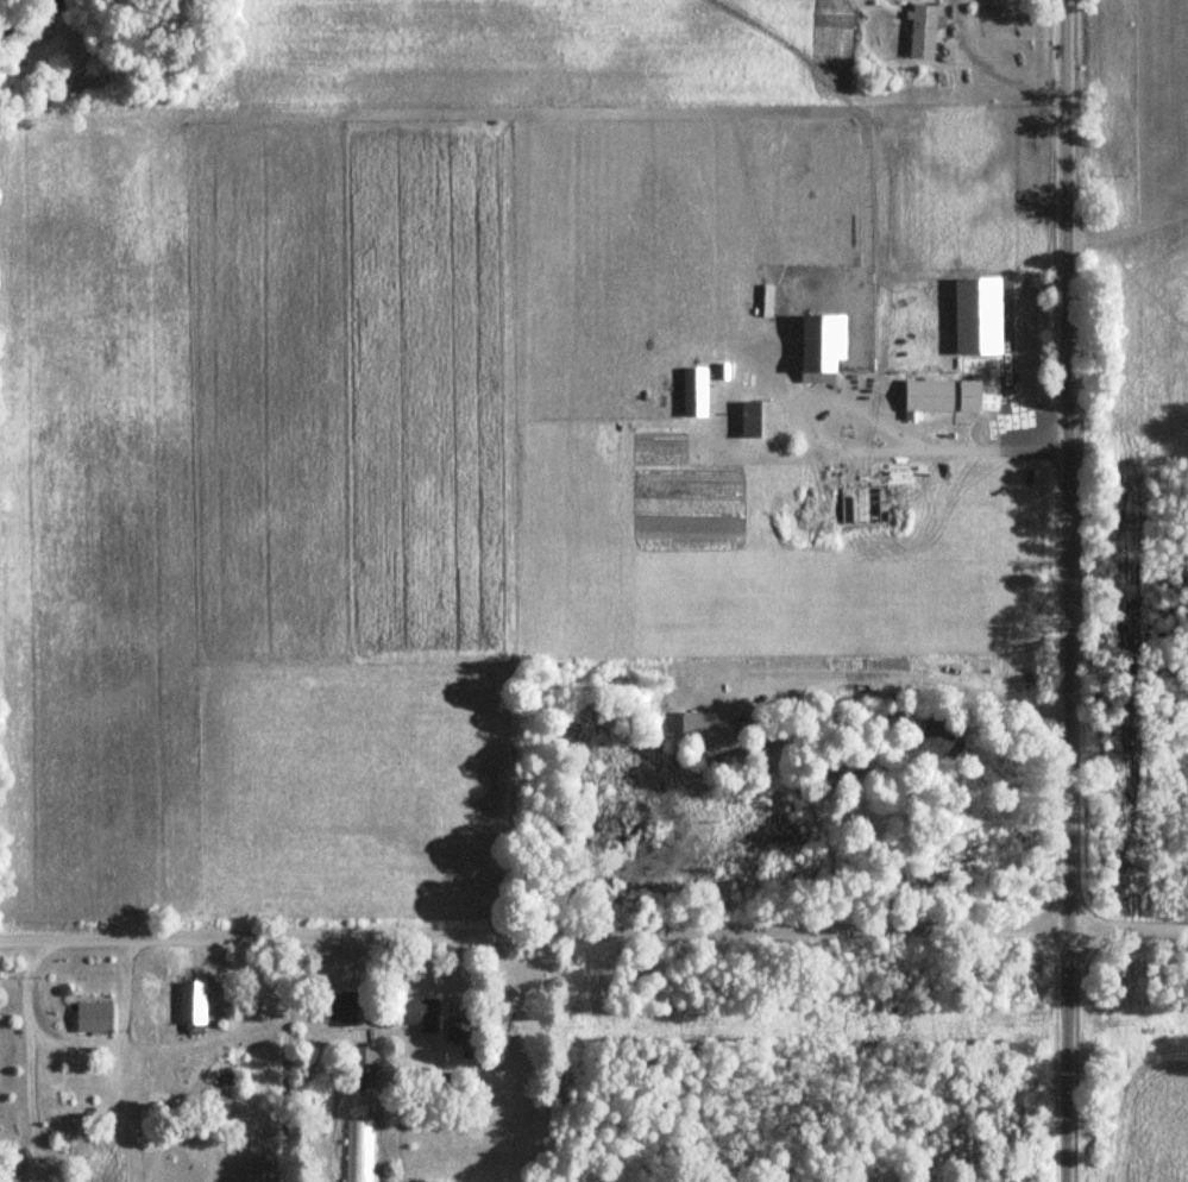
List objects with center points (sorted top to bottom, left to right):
building: (925, 30)
building: (826, 344)
building: (696, 391)
building: (947, 396)
building: (761, 417)
road: (868, 452)
road: (1068, 591)
road: (905, 683)
road: (593, 933)
road: (360, 987)
building: (194, 1002)
building: (344, 1007)
building: (425, 1013)
building: (96, 1017)
road: (283, 1057)
building: (367, 1065)

